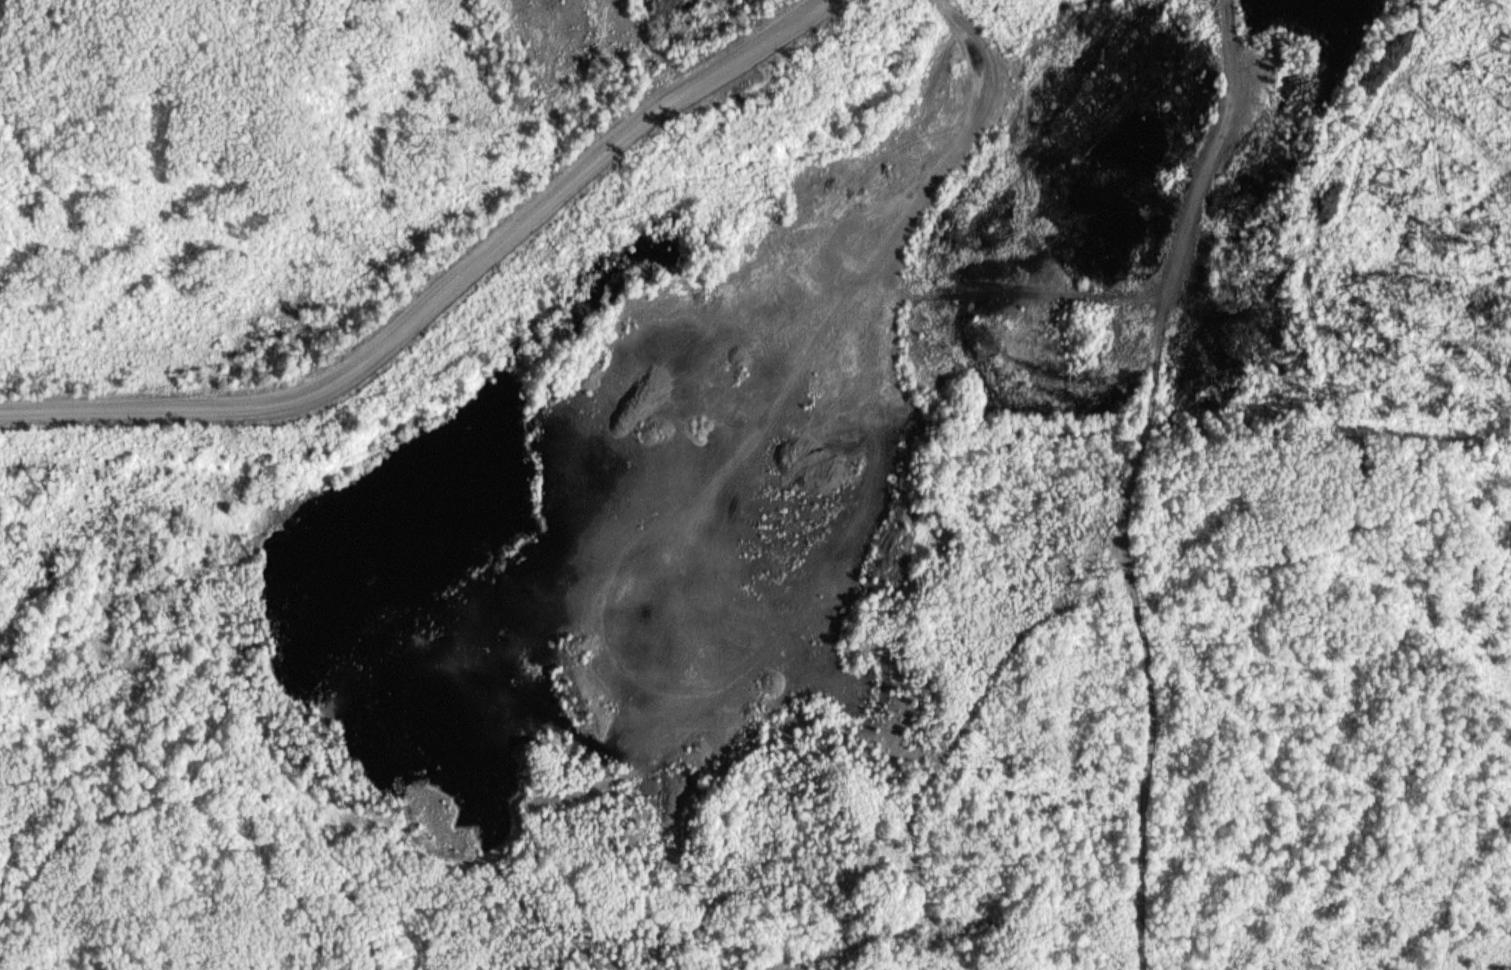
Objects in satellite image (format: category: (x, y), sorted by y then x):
road: (445, 298)
road: (1133, 479)

